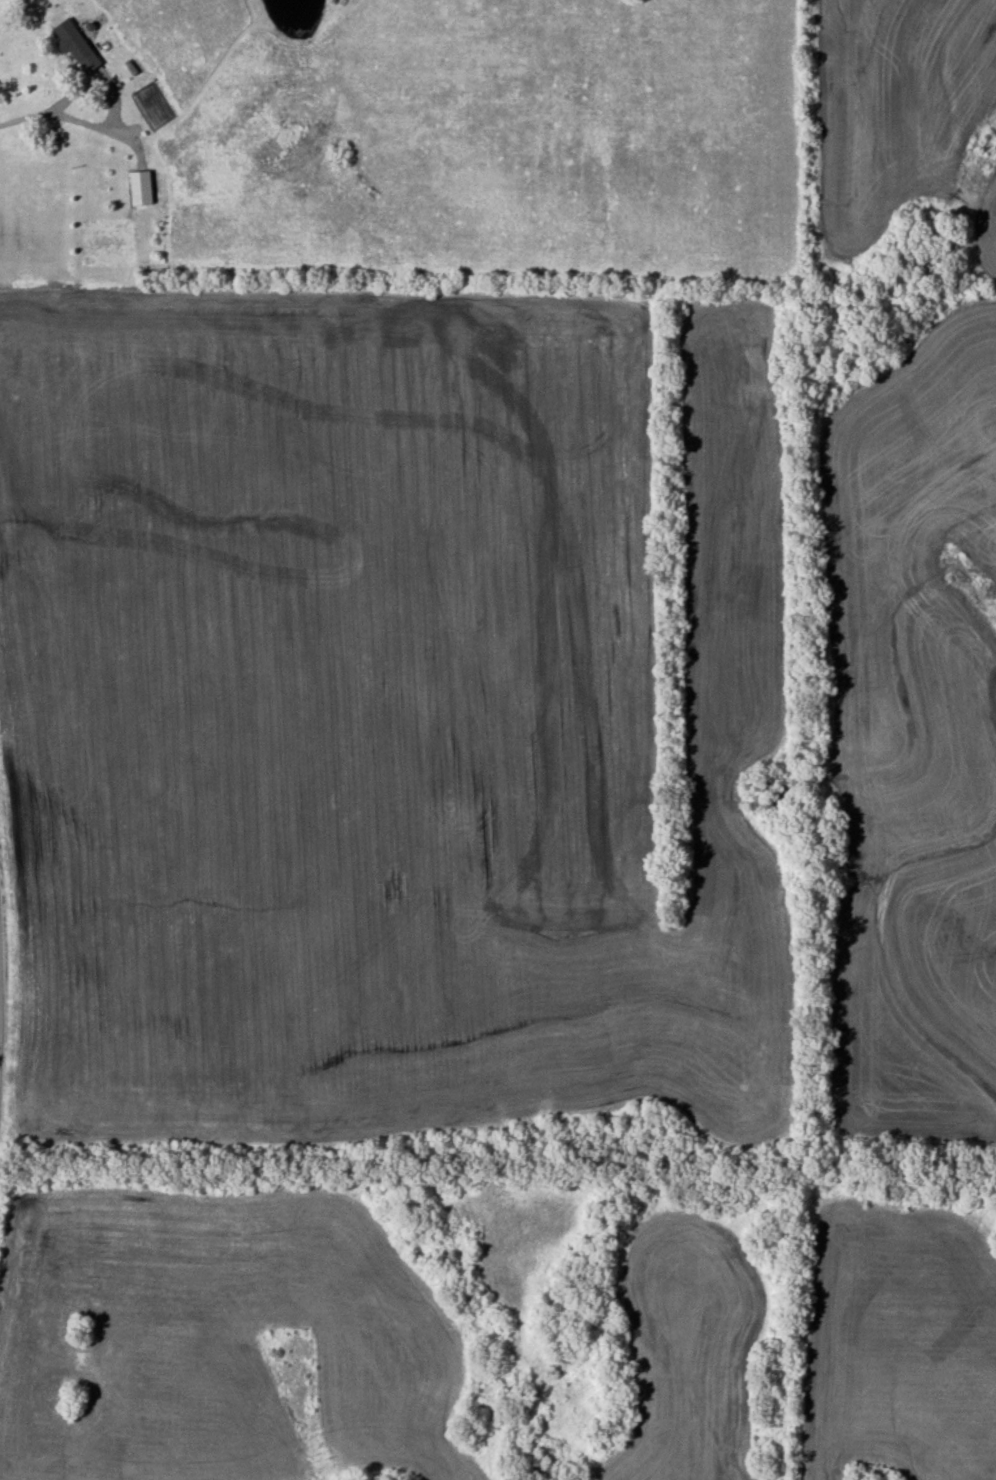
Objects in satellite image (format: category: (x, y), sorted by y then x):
road: (113, 104)
road: (24, 120)
building: (140, 189)

